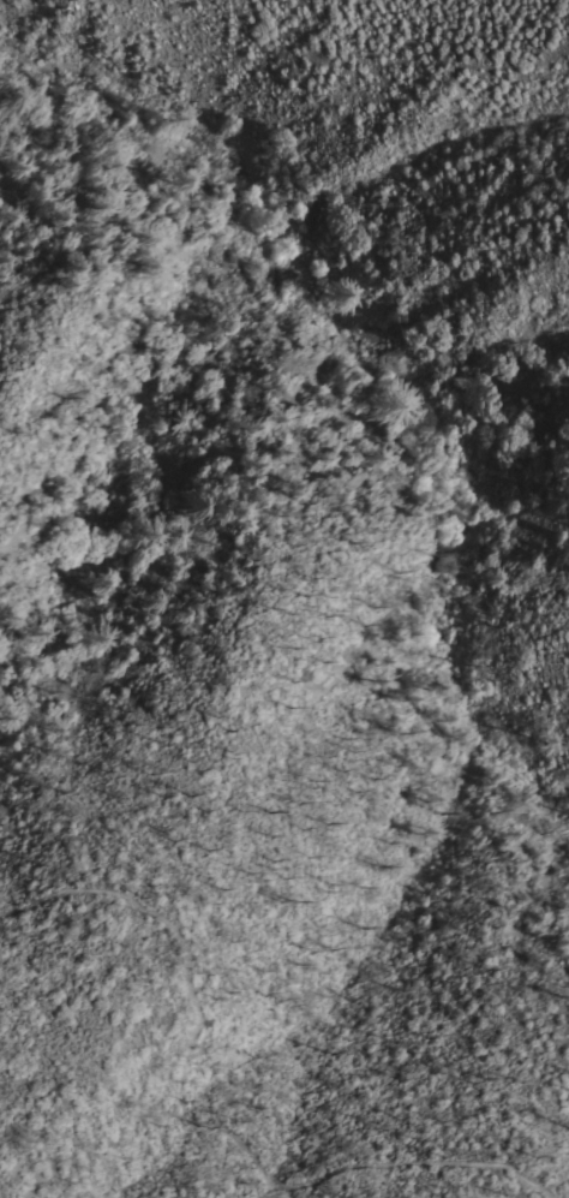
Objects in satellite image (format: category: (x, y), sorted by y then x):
road: (200, 1114)

